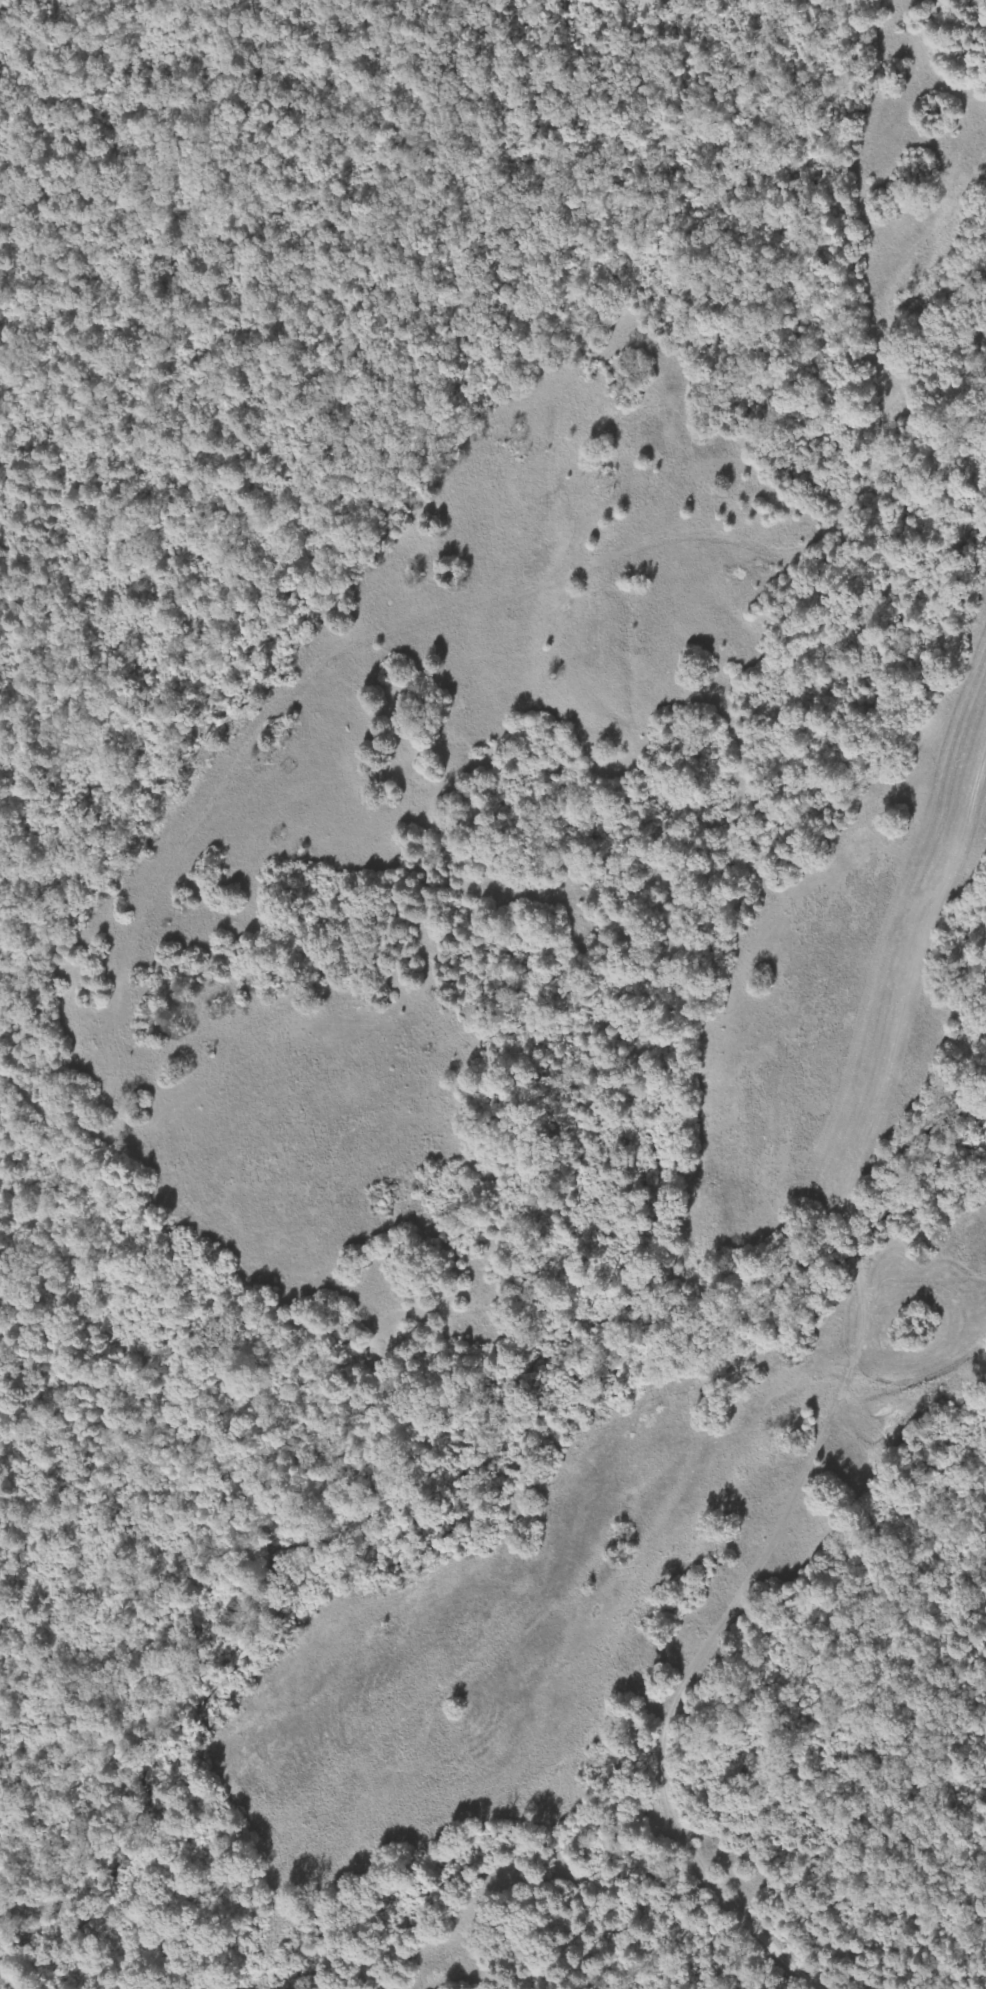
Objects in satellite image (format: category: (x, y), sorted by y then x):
road: (903, 999)

